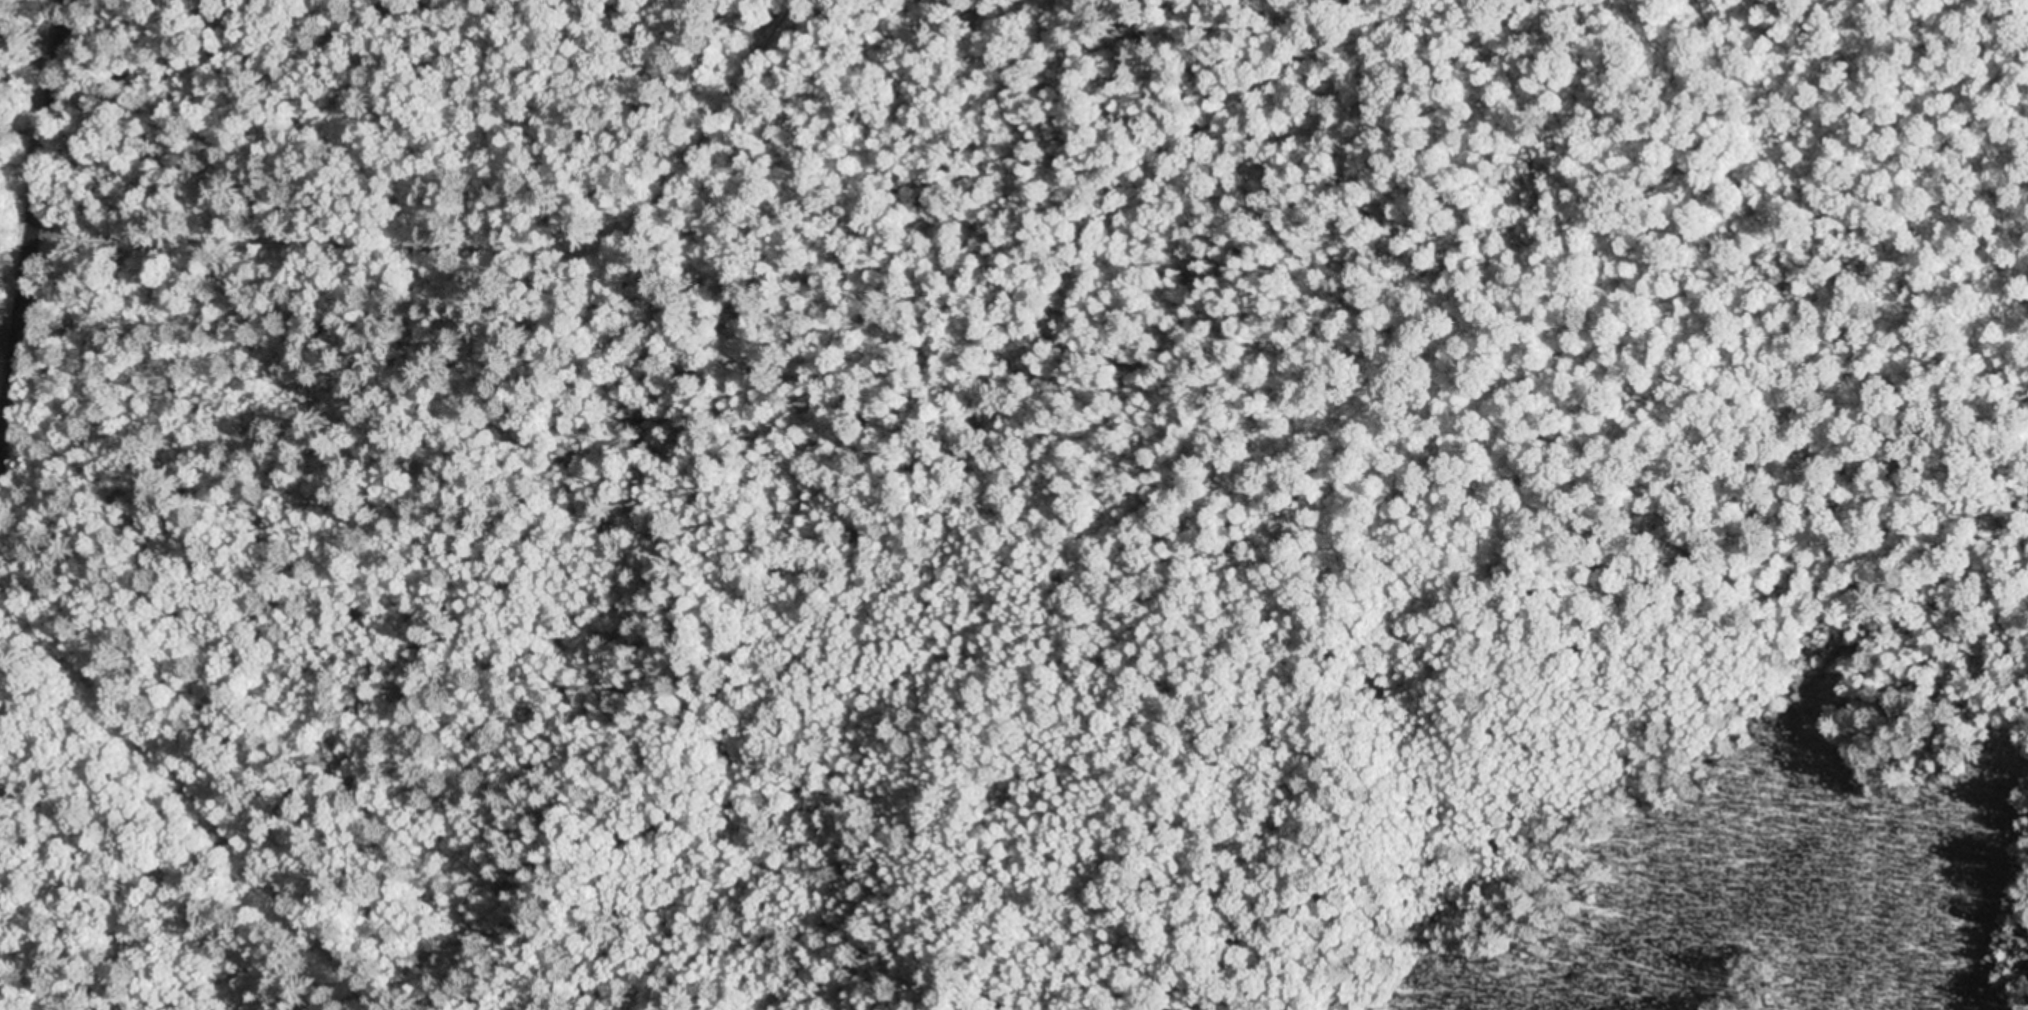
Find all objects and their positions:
road: (33, 239)
road: (476, 242)
road: (10, 331)

